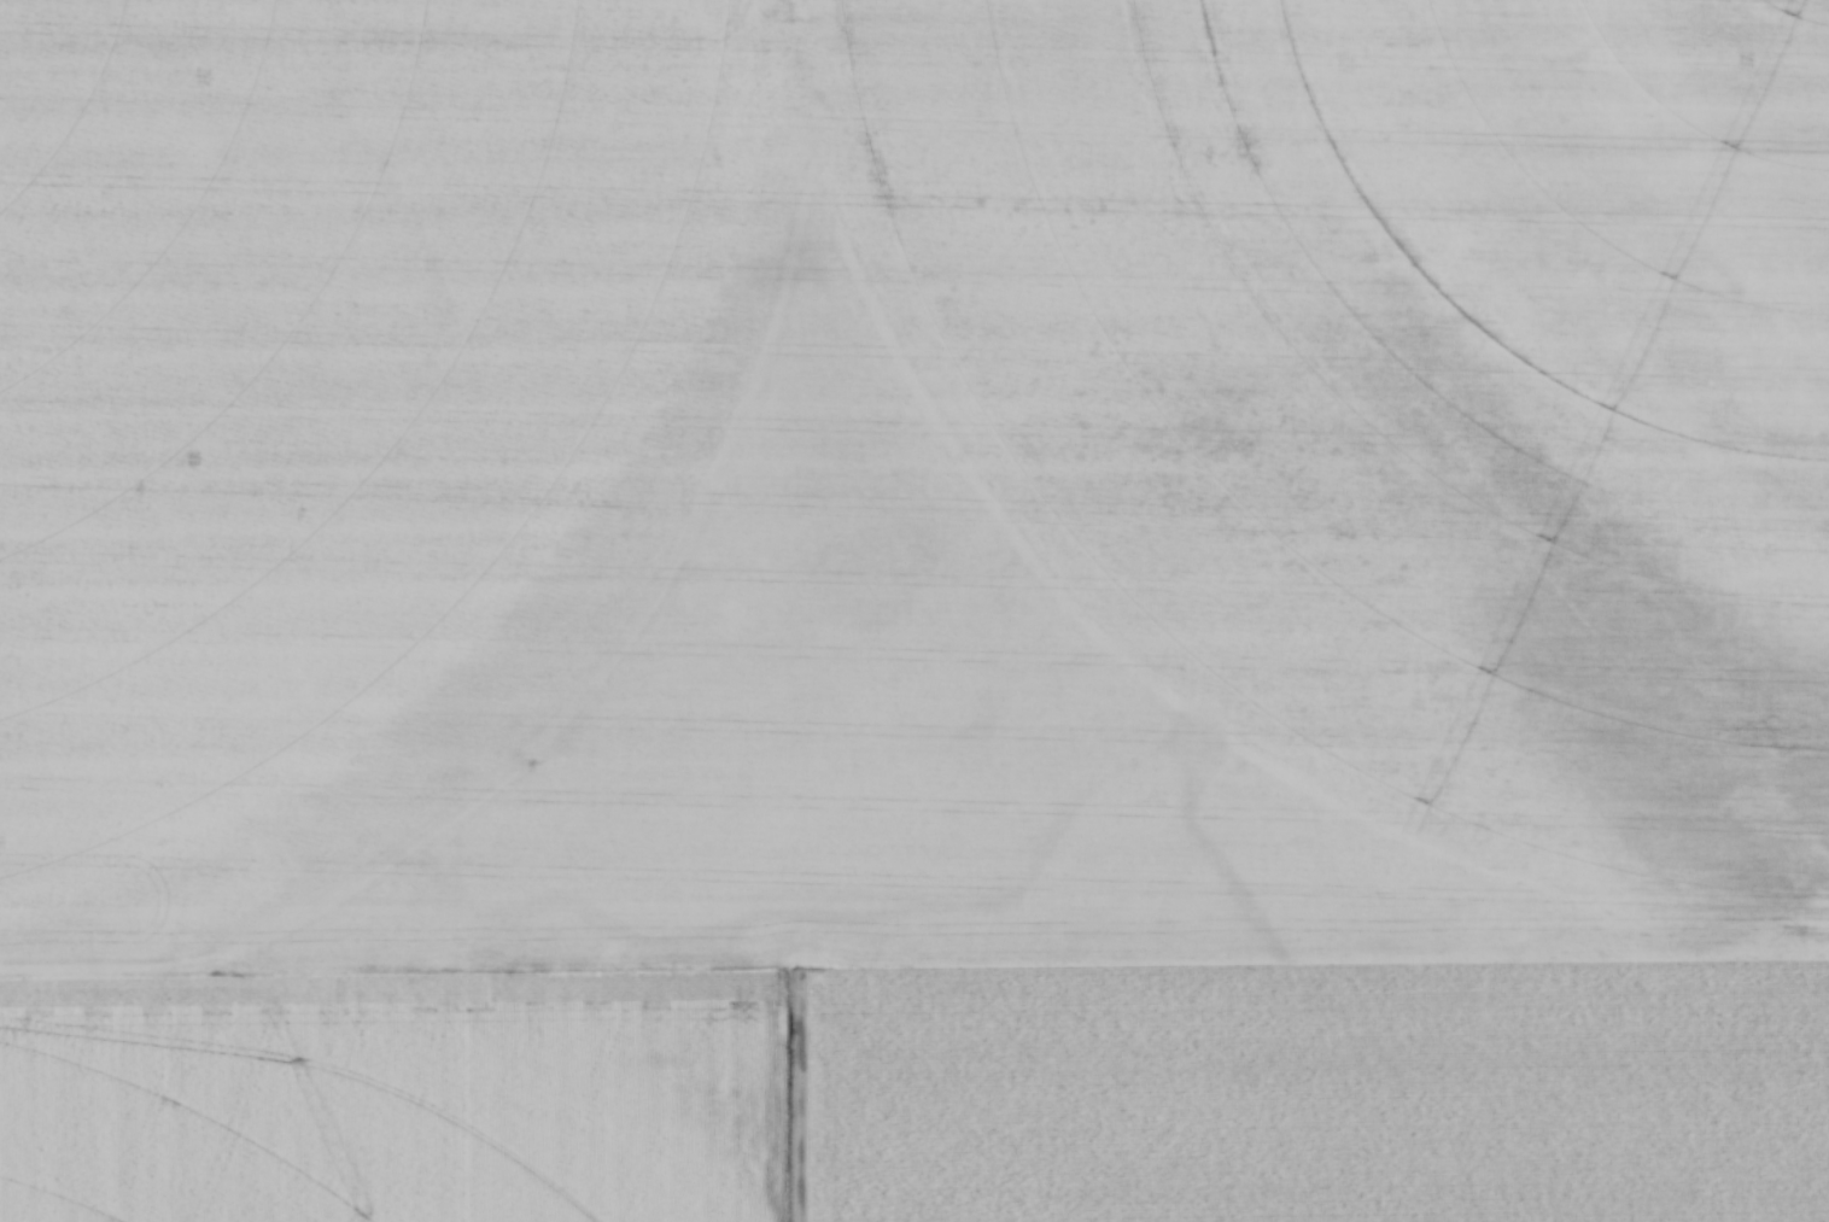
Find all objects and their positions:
crop: (915, 610)
road: (787, 1098)

